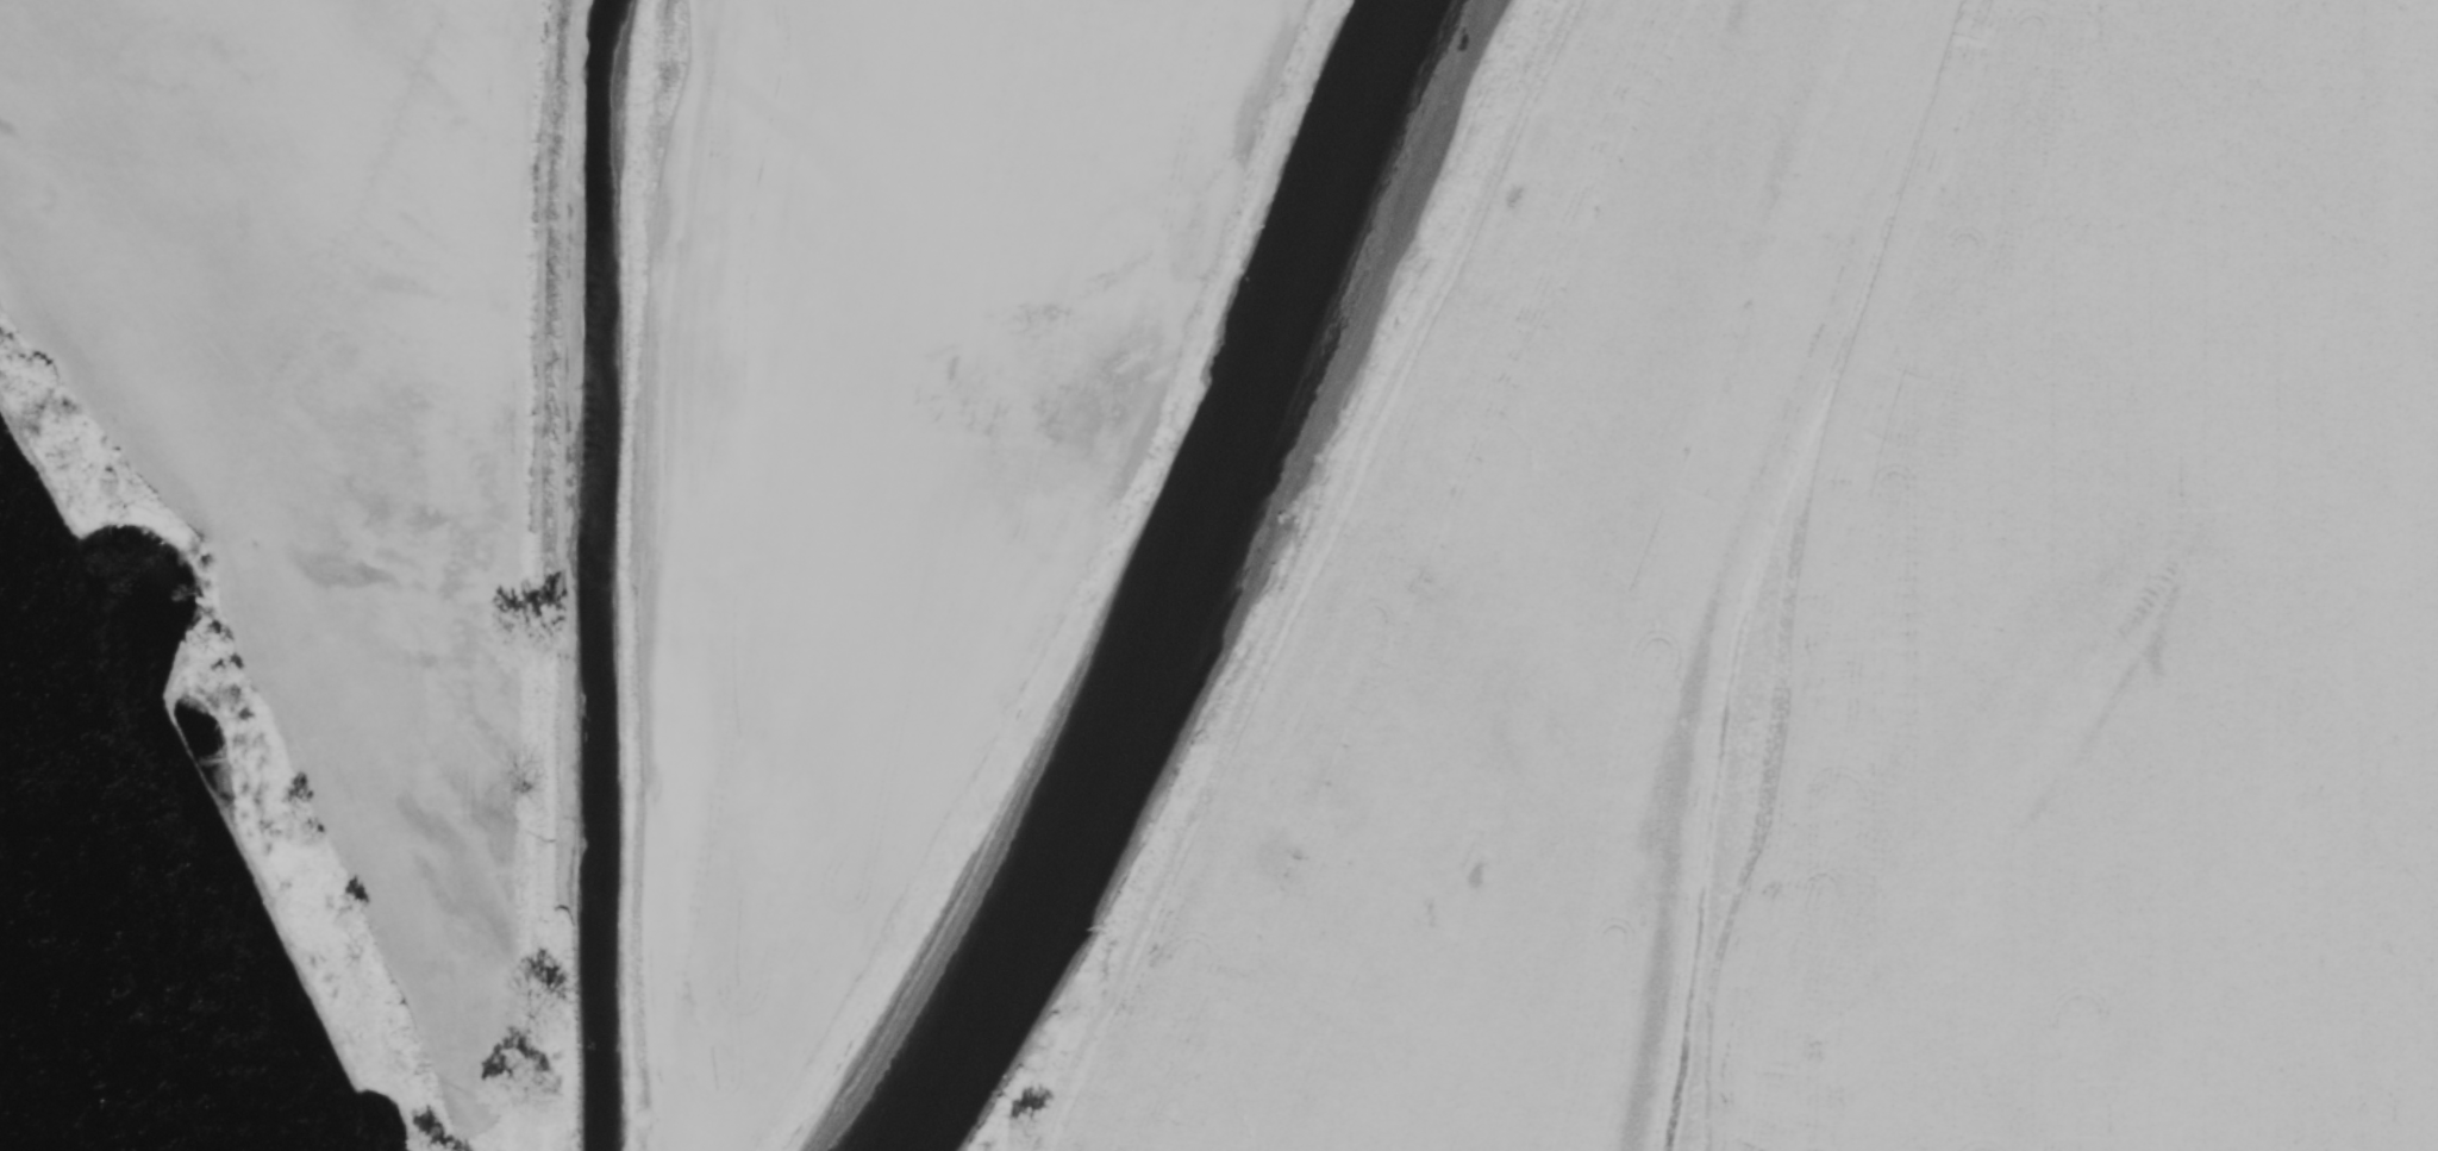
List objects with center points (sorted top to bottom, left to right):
river: (1183, 582)
river: (13, 1114)

